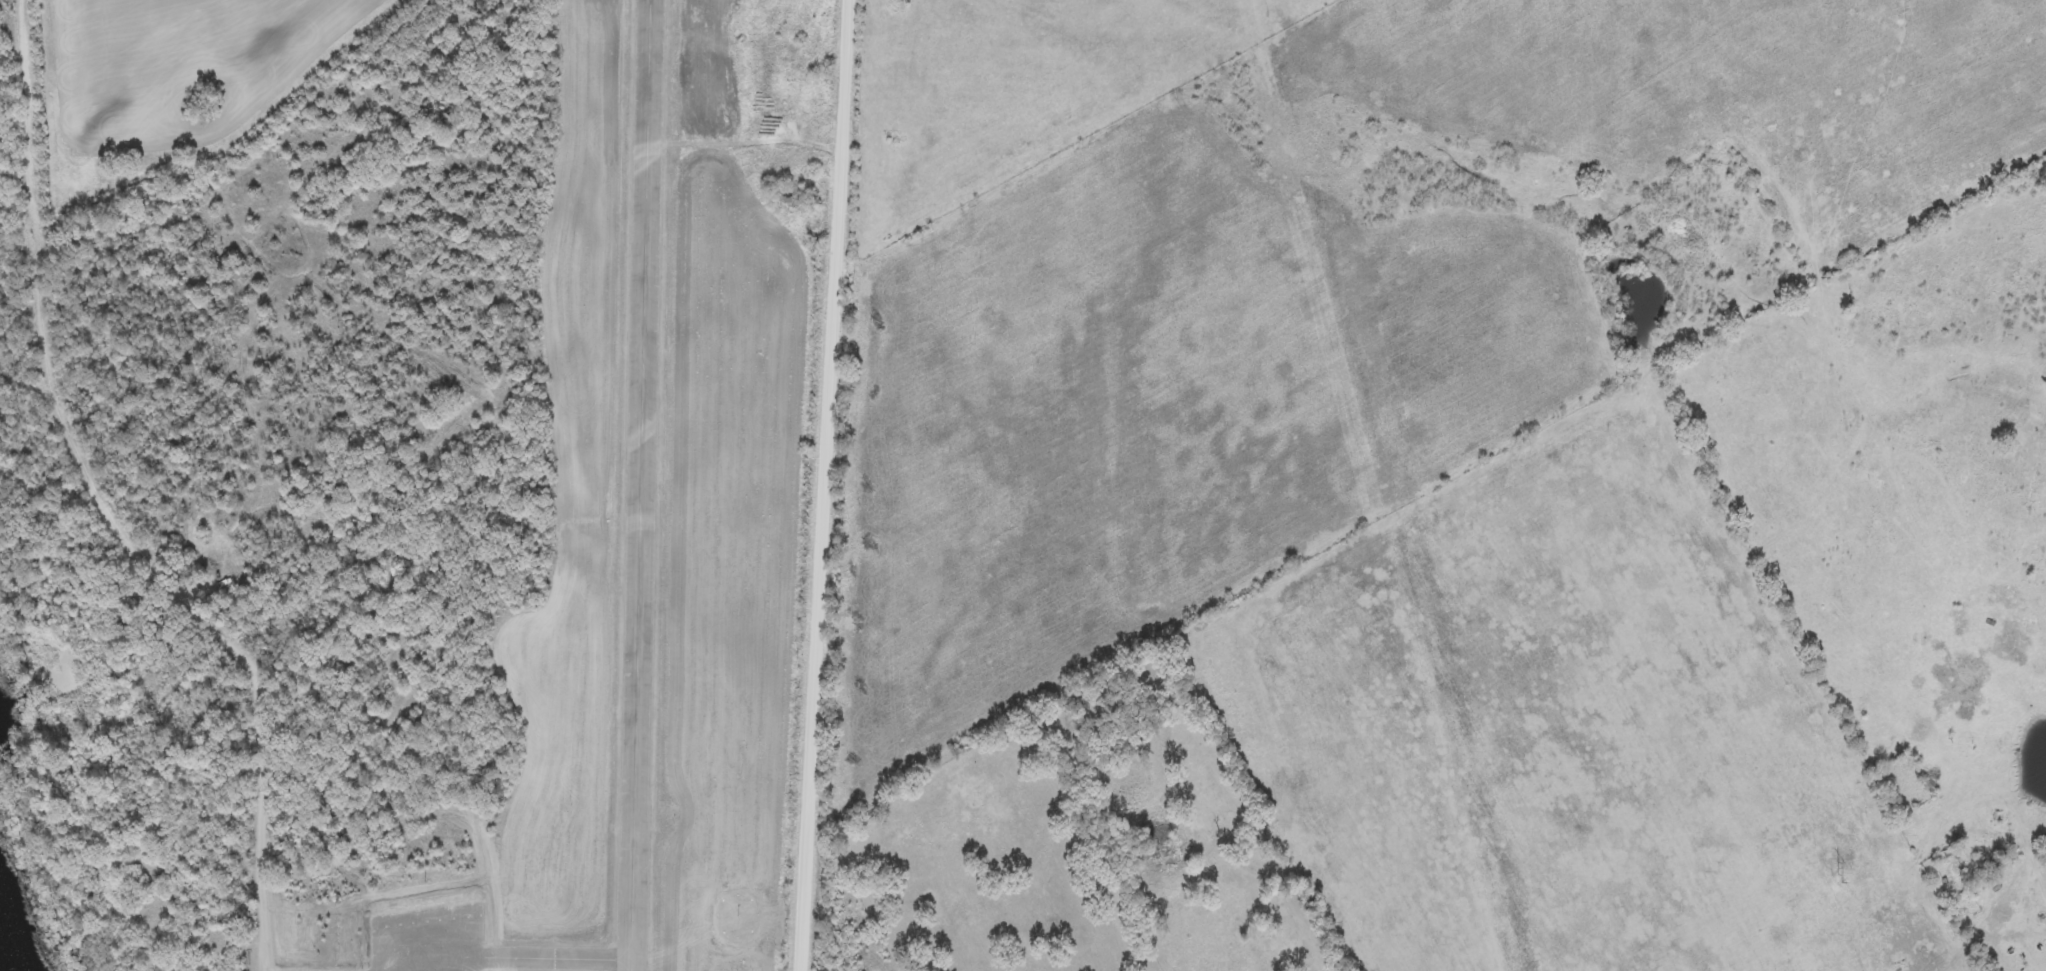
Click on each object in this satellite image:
airport runway: (641, 485)
road: (832, 485)
road: (96, 490)
power tower: (1838, 880)
road: (266, 951)
airport taxiway: (560, 960)

